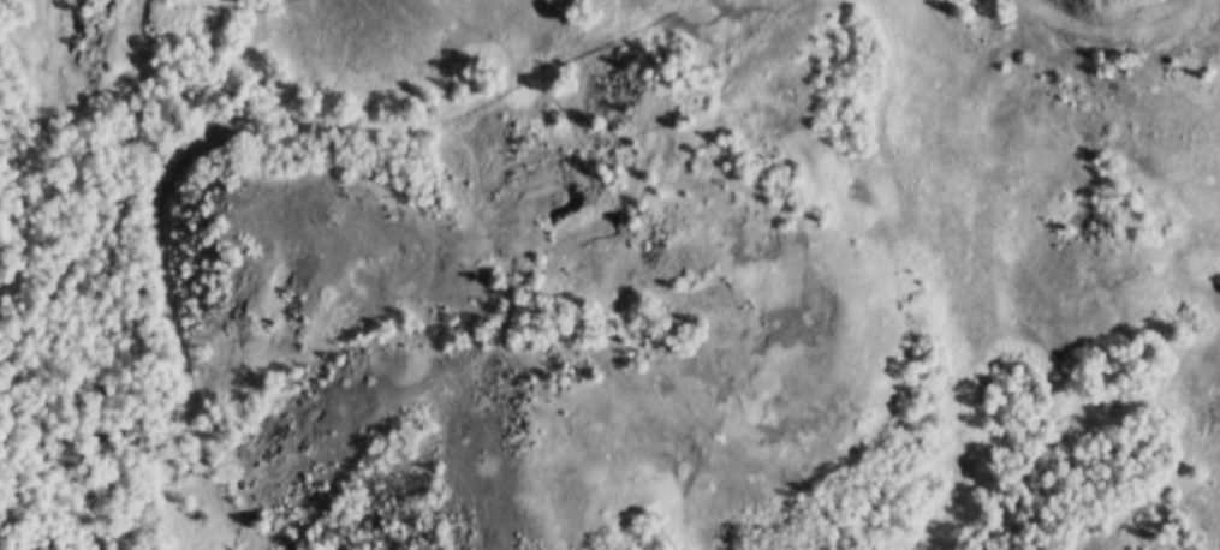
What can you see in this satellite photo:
road: (1118, 50)

